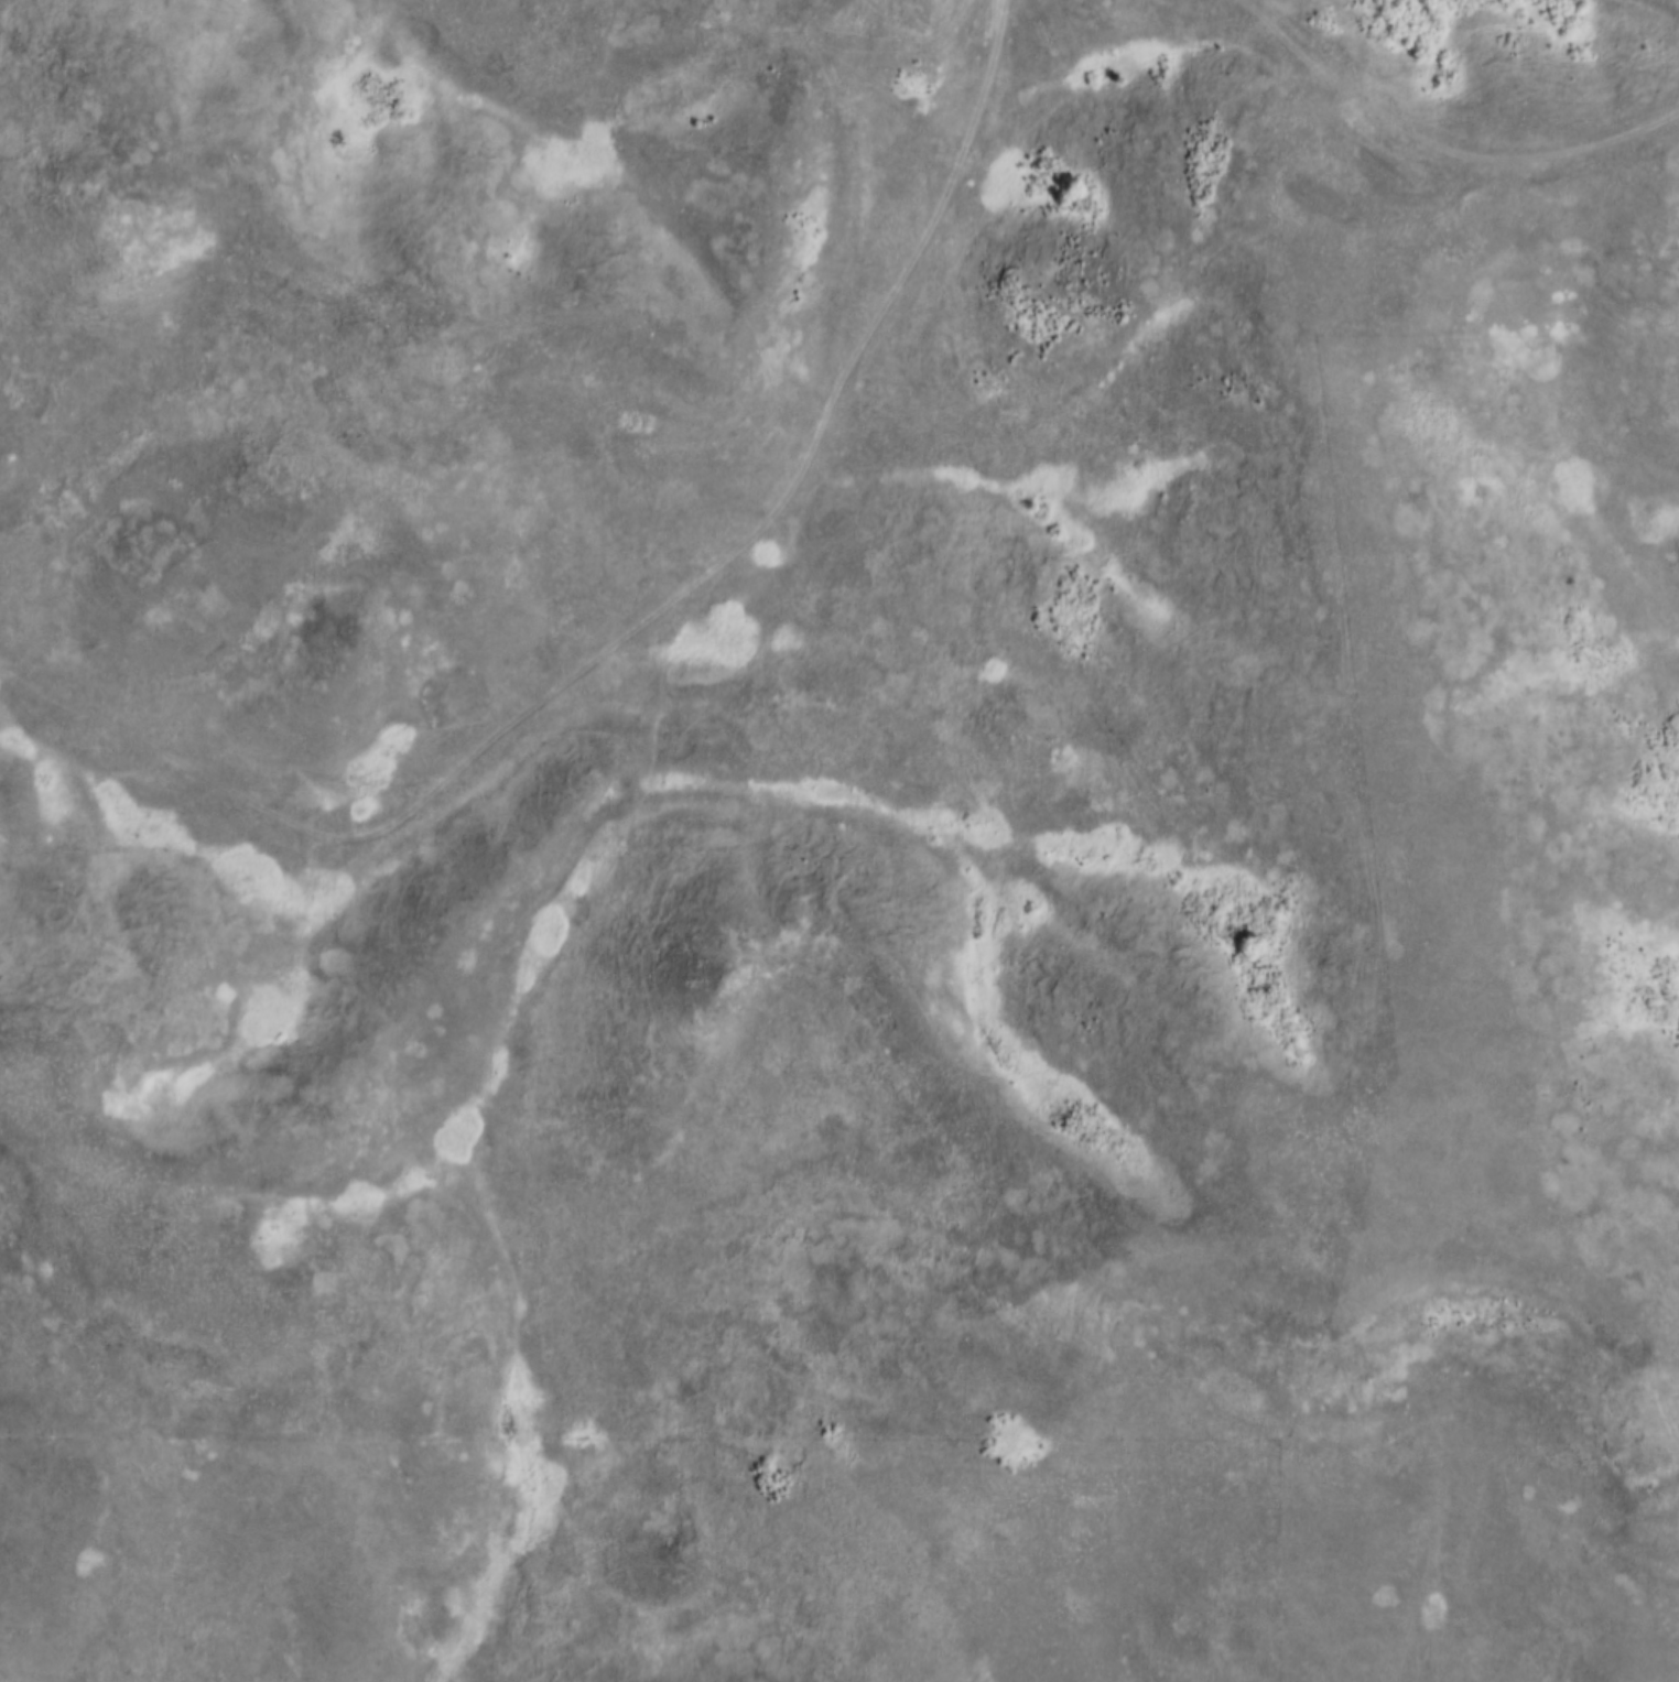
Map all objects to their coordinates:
road: (1433, 115)
road: (682, 621)

